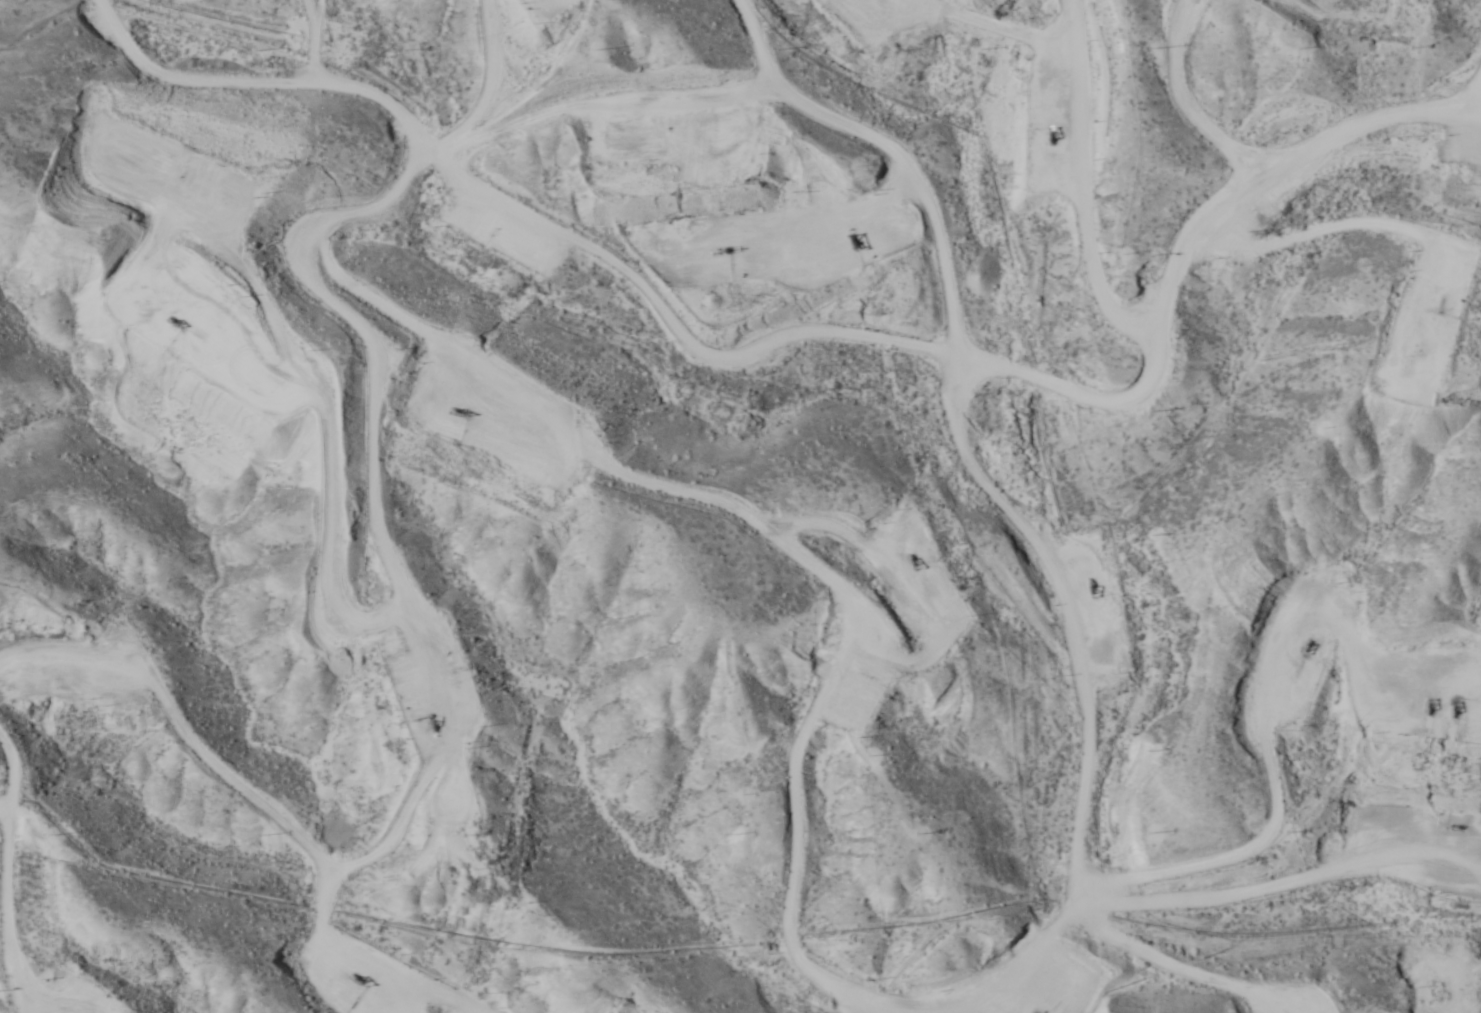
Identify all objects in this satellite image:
road: (794, 324)
road: (1073, 673)
road: (420, 995)

